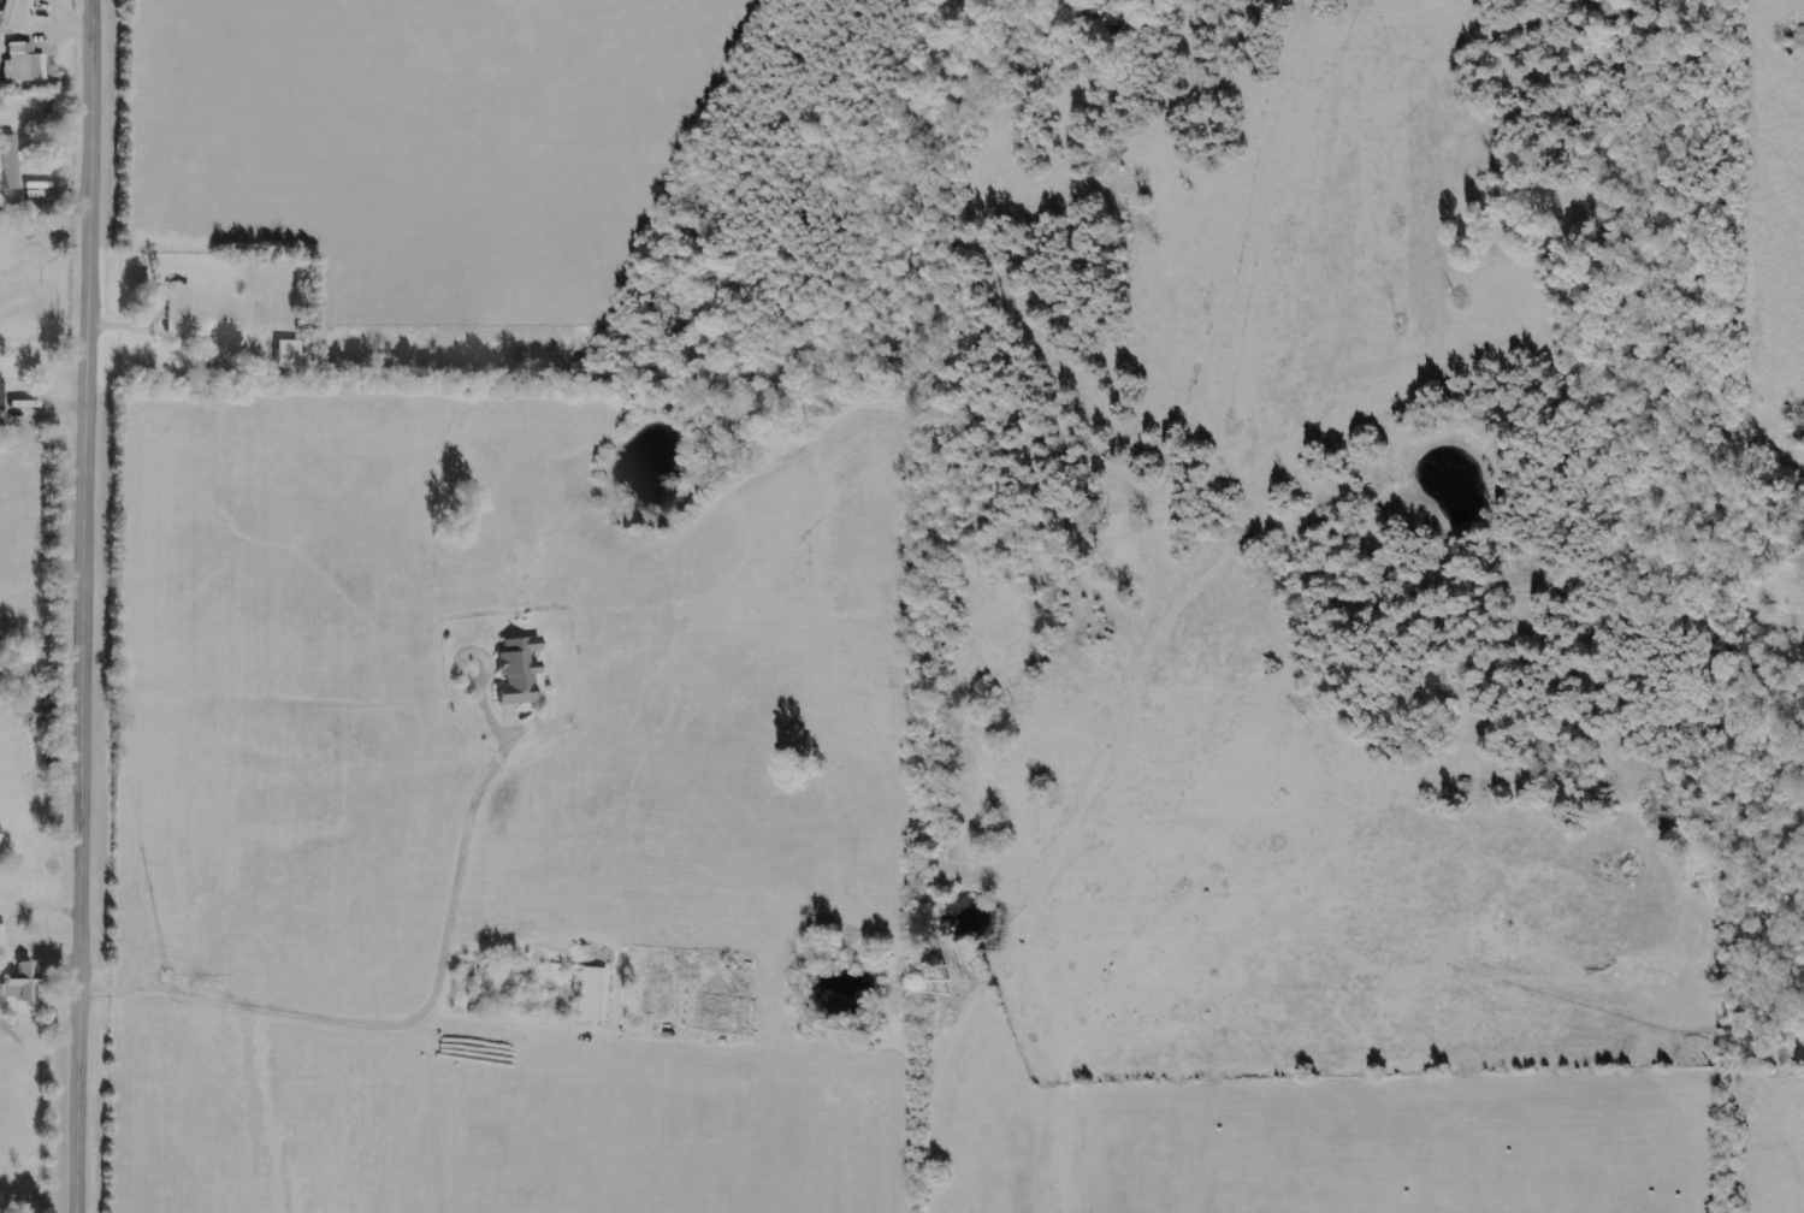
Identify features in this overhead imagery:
building: (13, 14)
building: (24, 63)
building: (11, 161)
building: (179, 310)
building: (288, 354)
building: (1, 396)
road: (77, 605)
building: (517, 670)
building: (0, 924)
building: (20, 983)
building: (592, 993)

